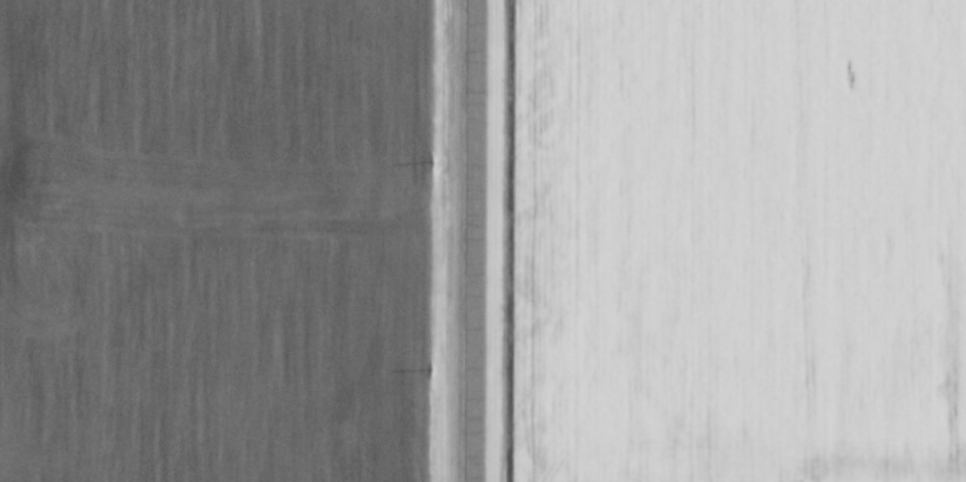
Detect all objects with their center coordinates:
road: (480, 240)

